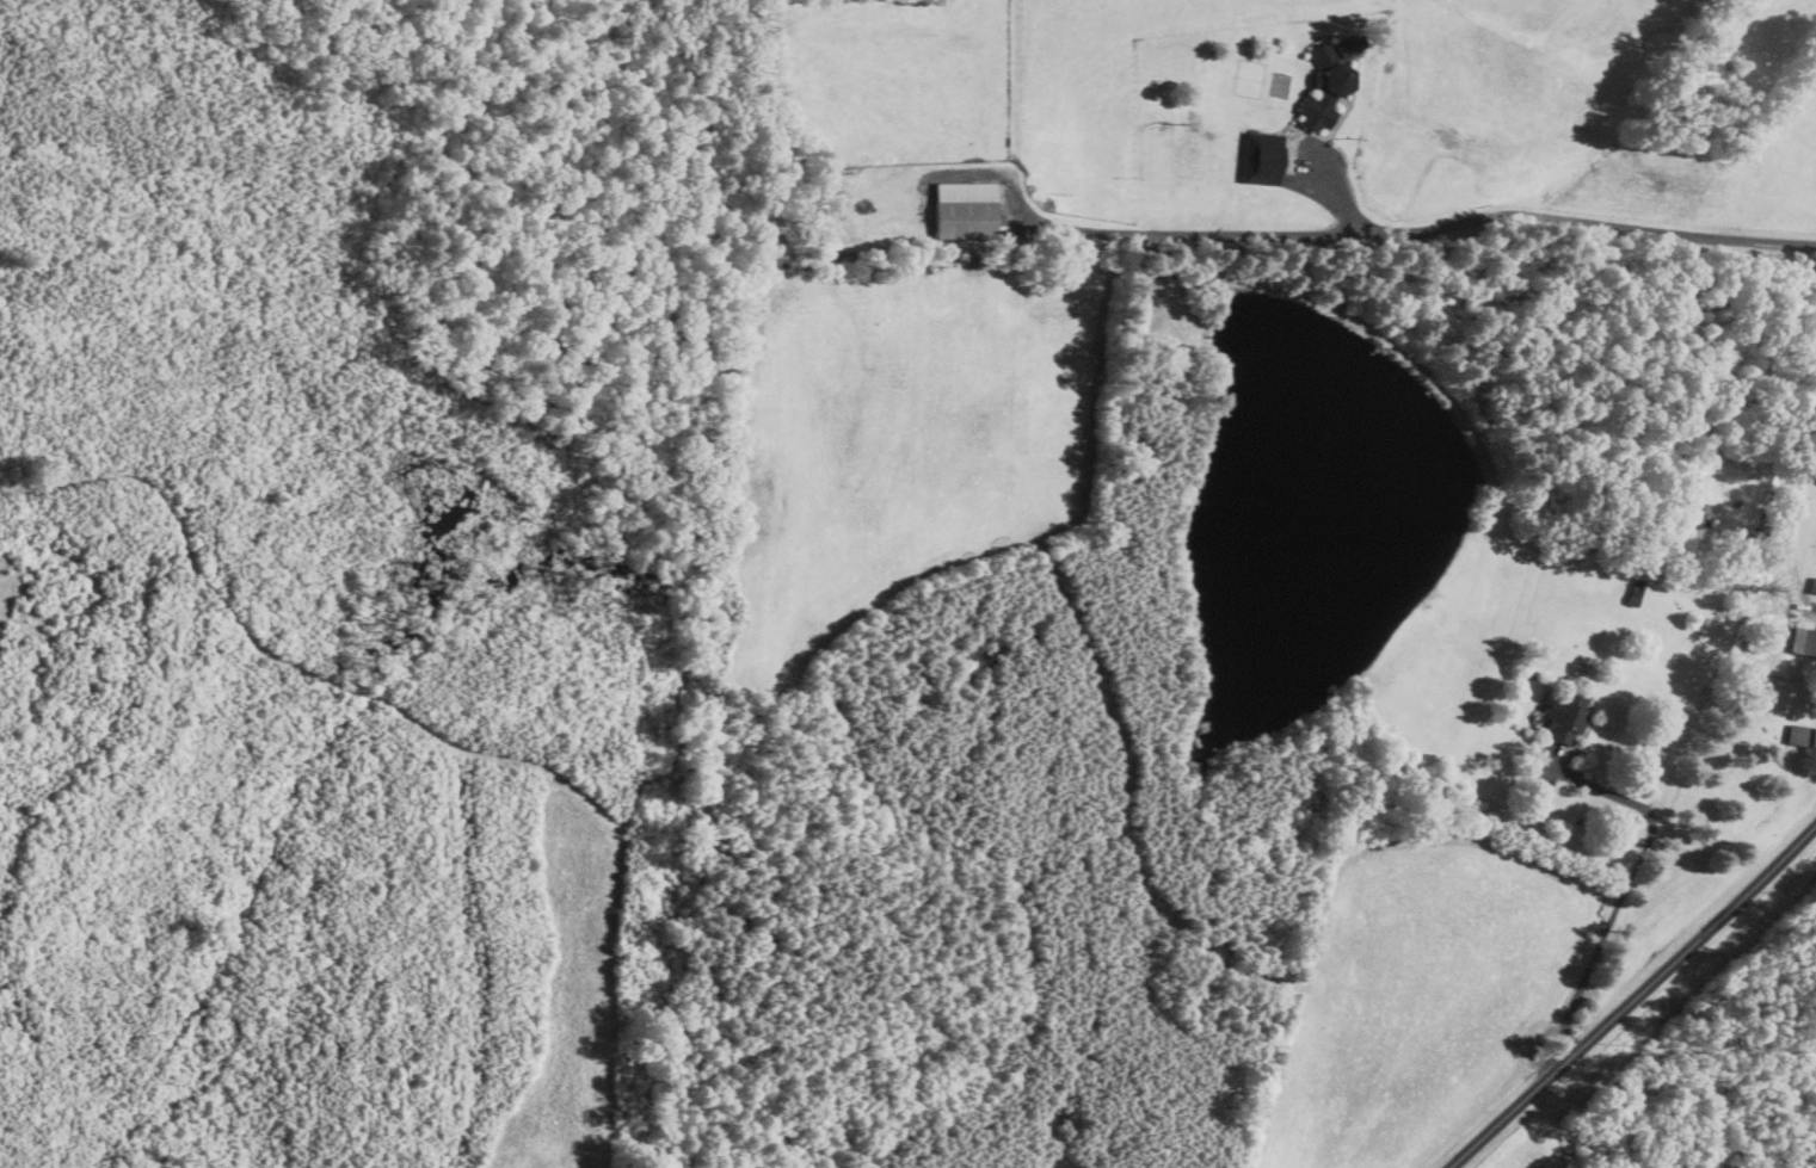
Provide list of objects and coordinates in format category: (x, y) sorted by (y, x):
building: (1329, 87)
building: (1264, 157)
building: (964, 212)
road: (1312, 233)
road: (1815, 610)
building: (1805, 642)
building: (1569, 721)
building: (1802, 736)
road: (1623, 890)
road: (1635, 999)

